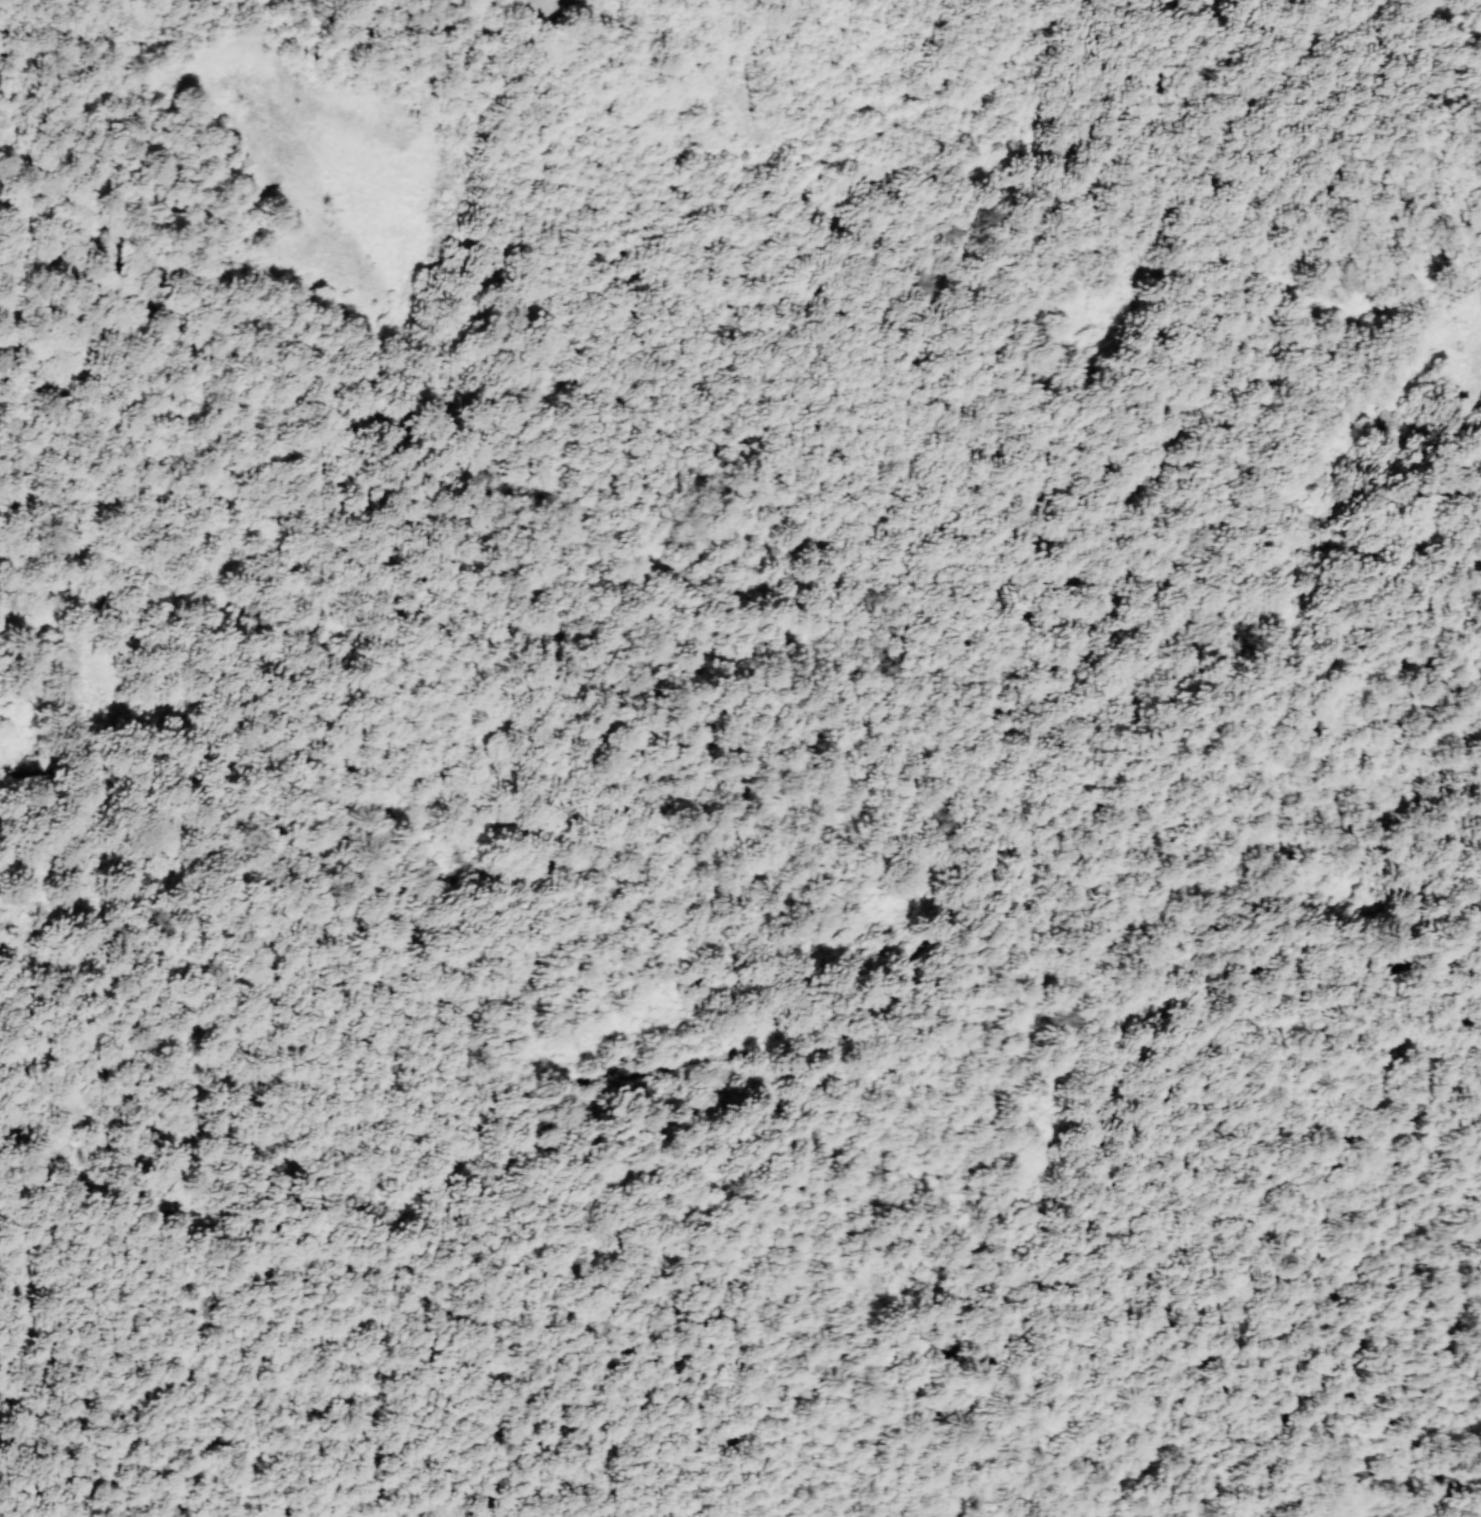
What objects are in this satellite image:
road: (430, 15)
road: (33, 19)
road: (1263, 113)
road: (446, 336)
road: (1105, 364)
road: (937, 403)
road: (45, 517)
road: (1236, 682)
road: (643, 923)
road: (261, 1030)
road: (1005, 1192)

